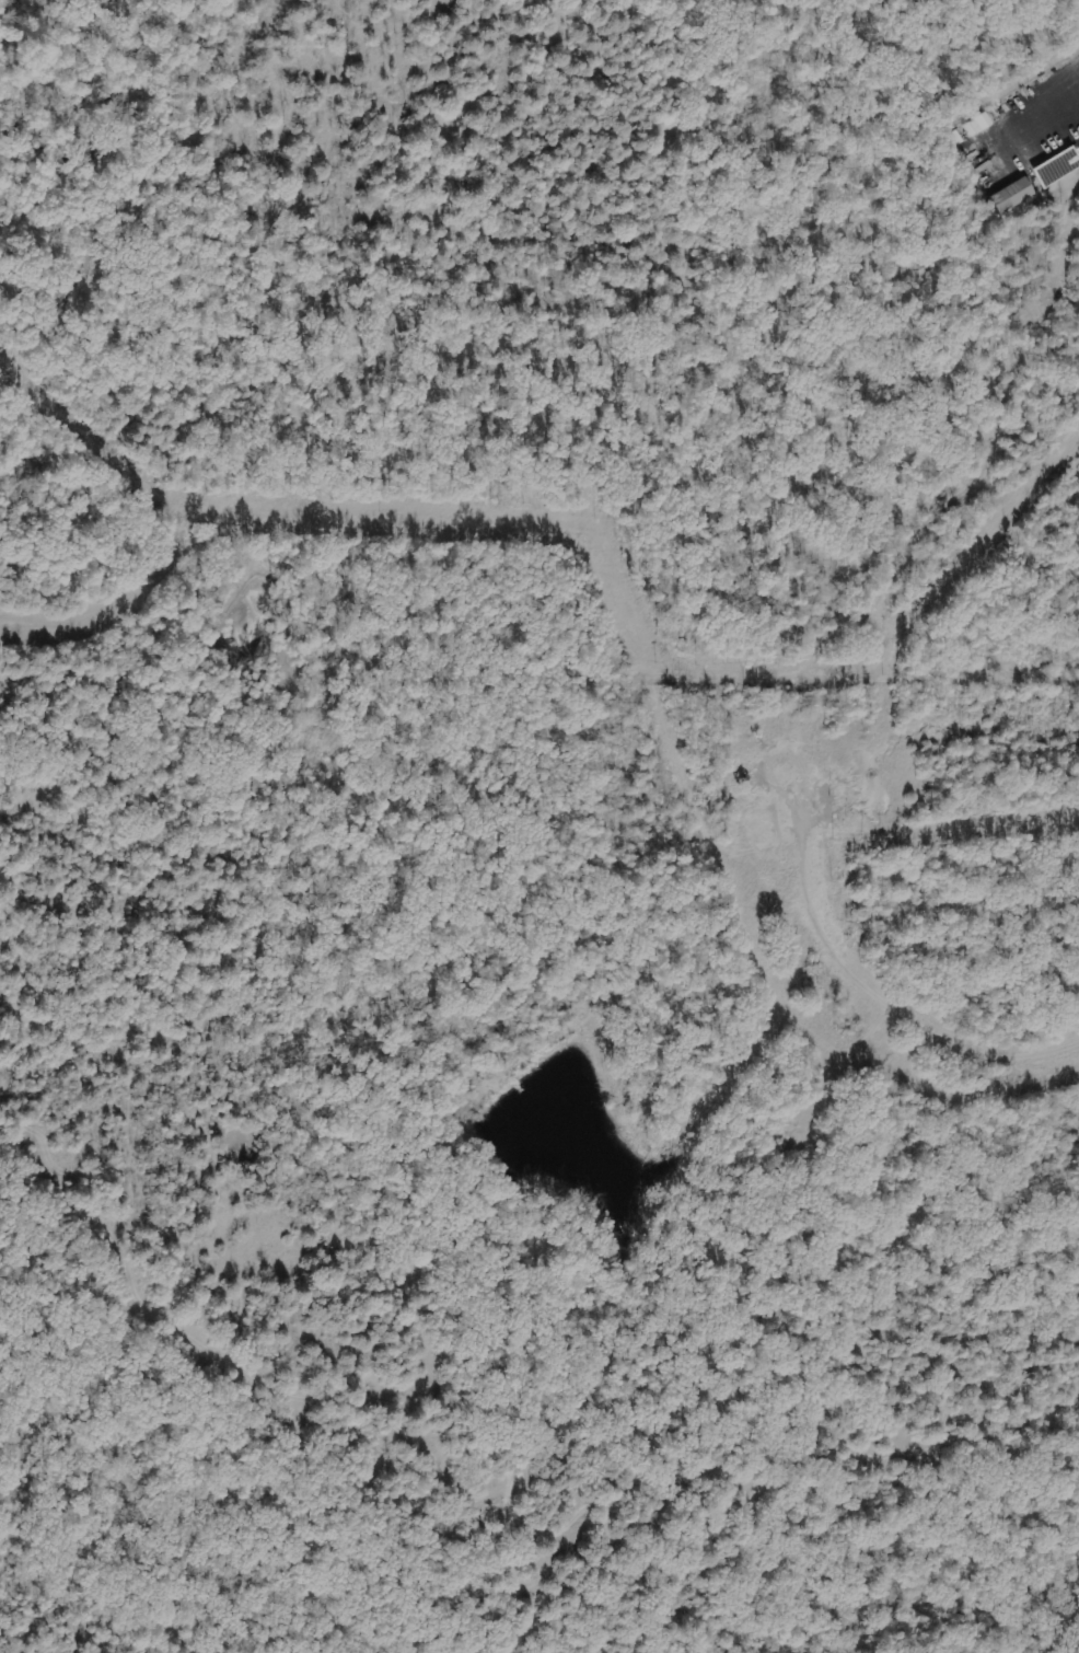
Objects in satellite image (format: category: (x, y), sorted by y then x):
road: (1059, 125)
building: (1010, 196)
park: (537, 305)

